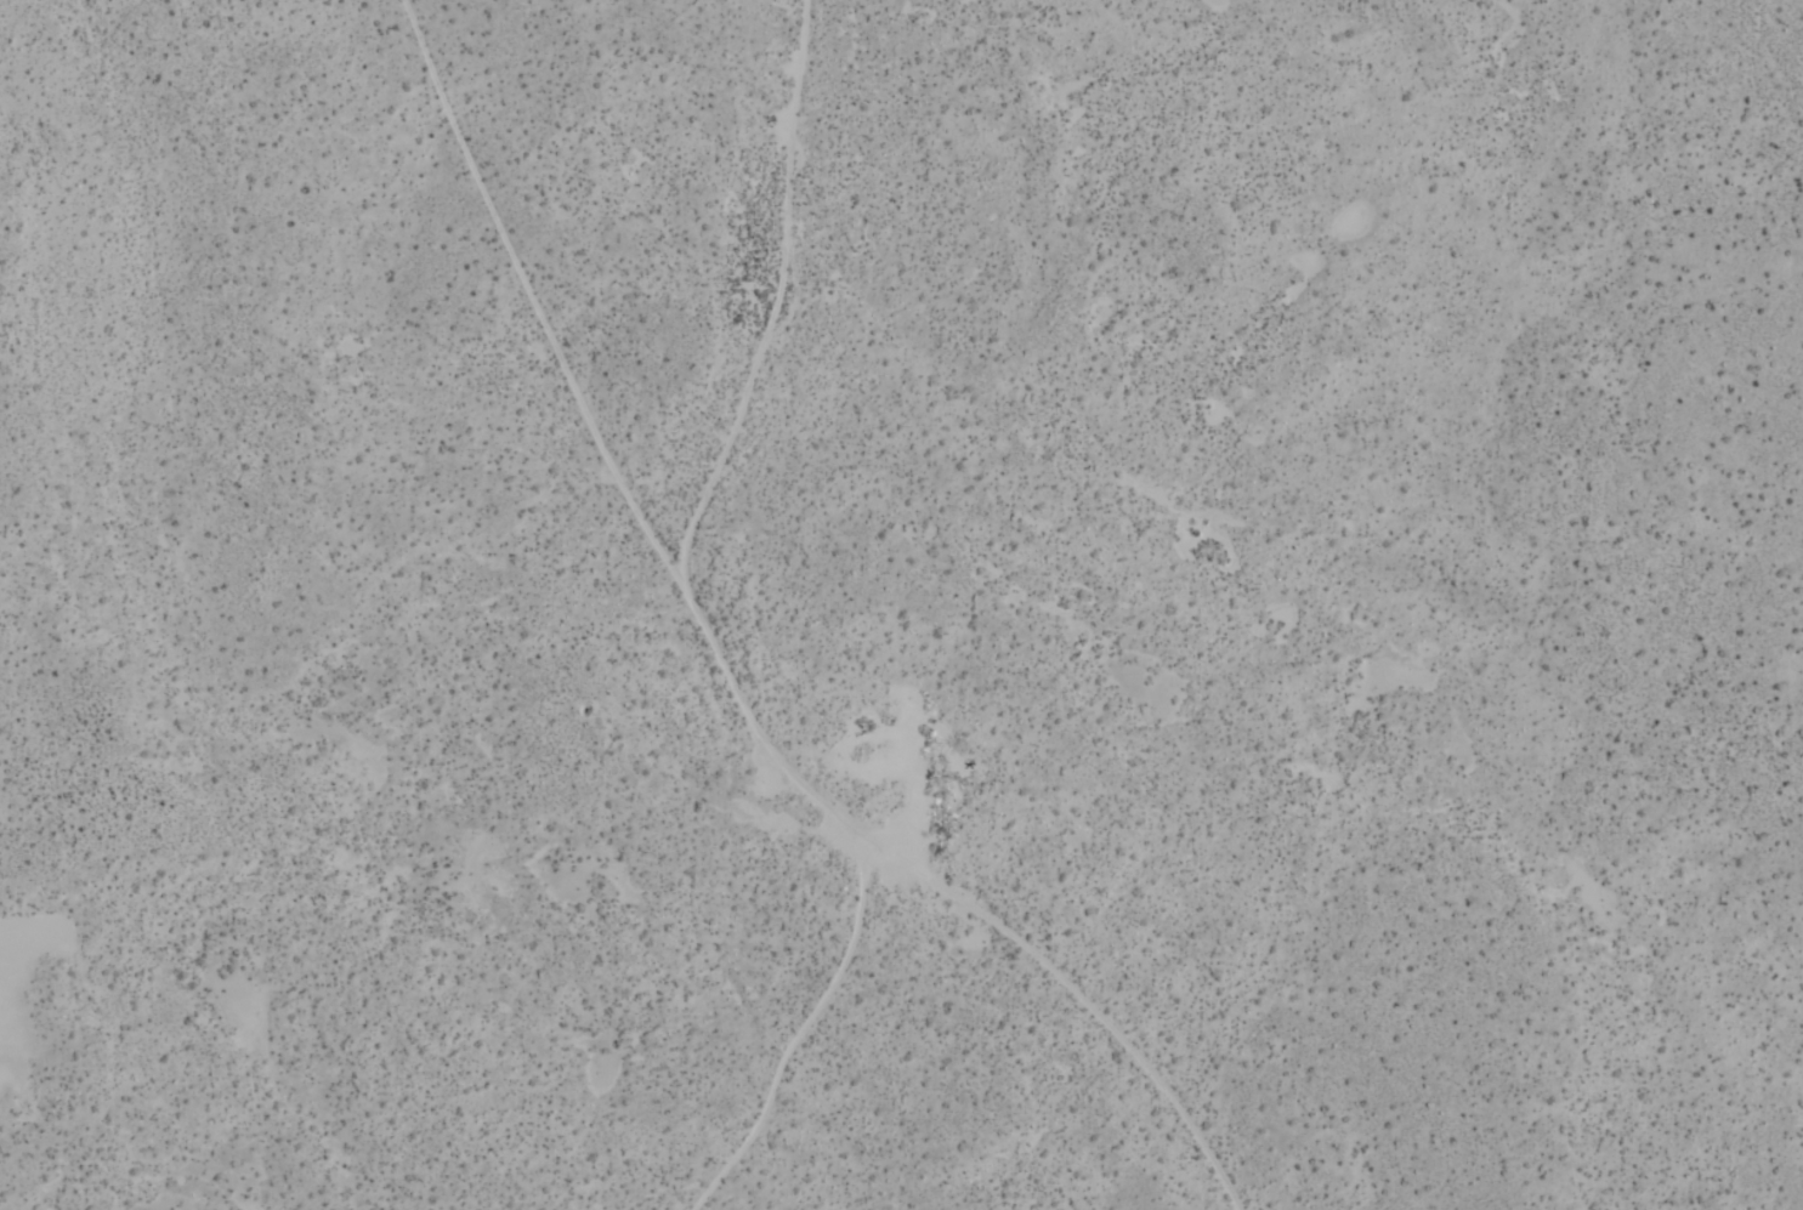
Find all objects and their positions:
road: (611, 472)
road: (1095, 1022)
road: (800, 1029)

